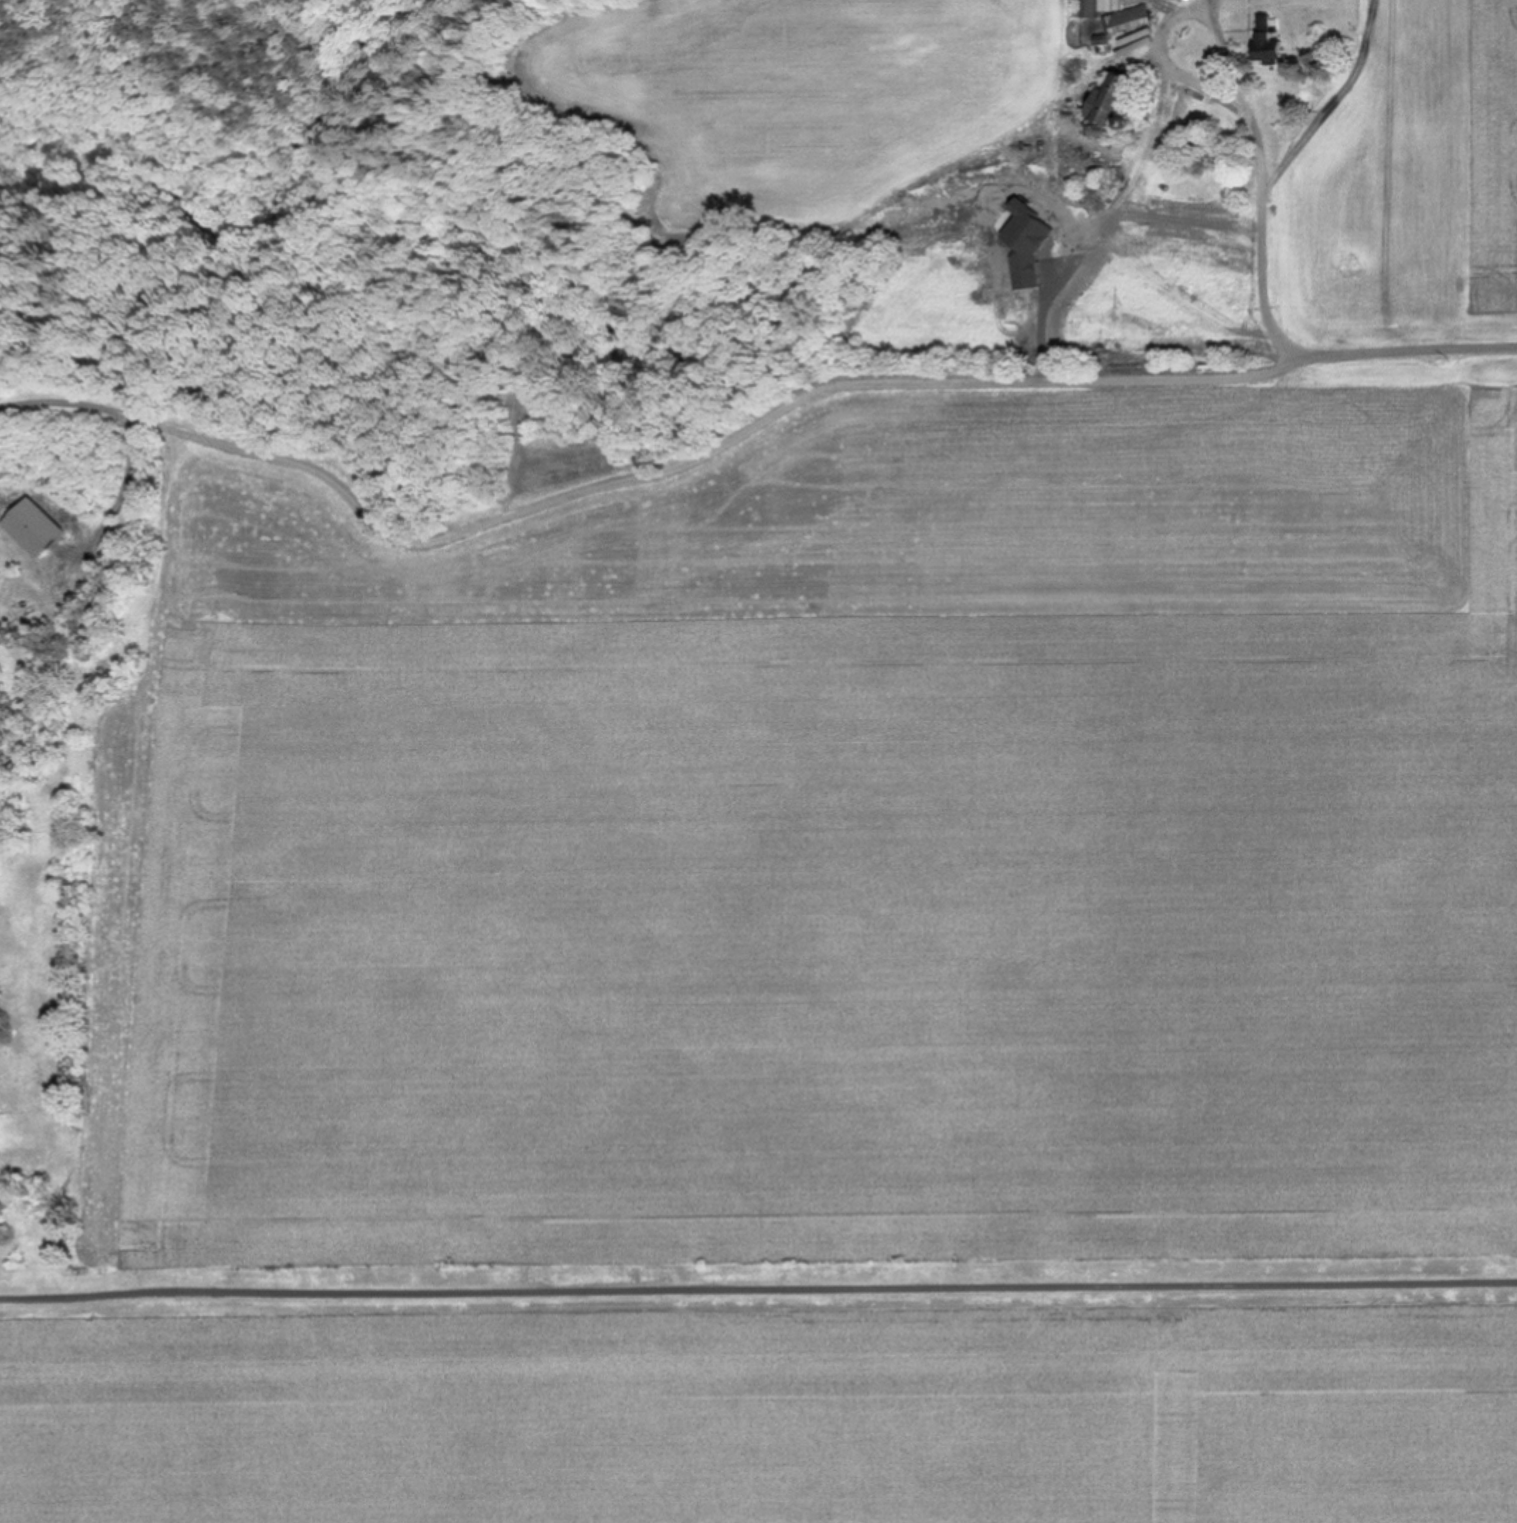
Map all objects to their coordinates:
road: (1245, 93)
crop: (794, 104)
crop: (1412, 178)
road: (1414, 350)
road: (82, 402)
road: (722, 443)
crop: (820, 843)
road: (758, 1289)
crop: (769, 1417)

